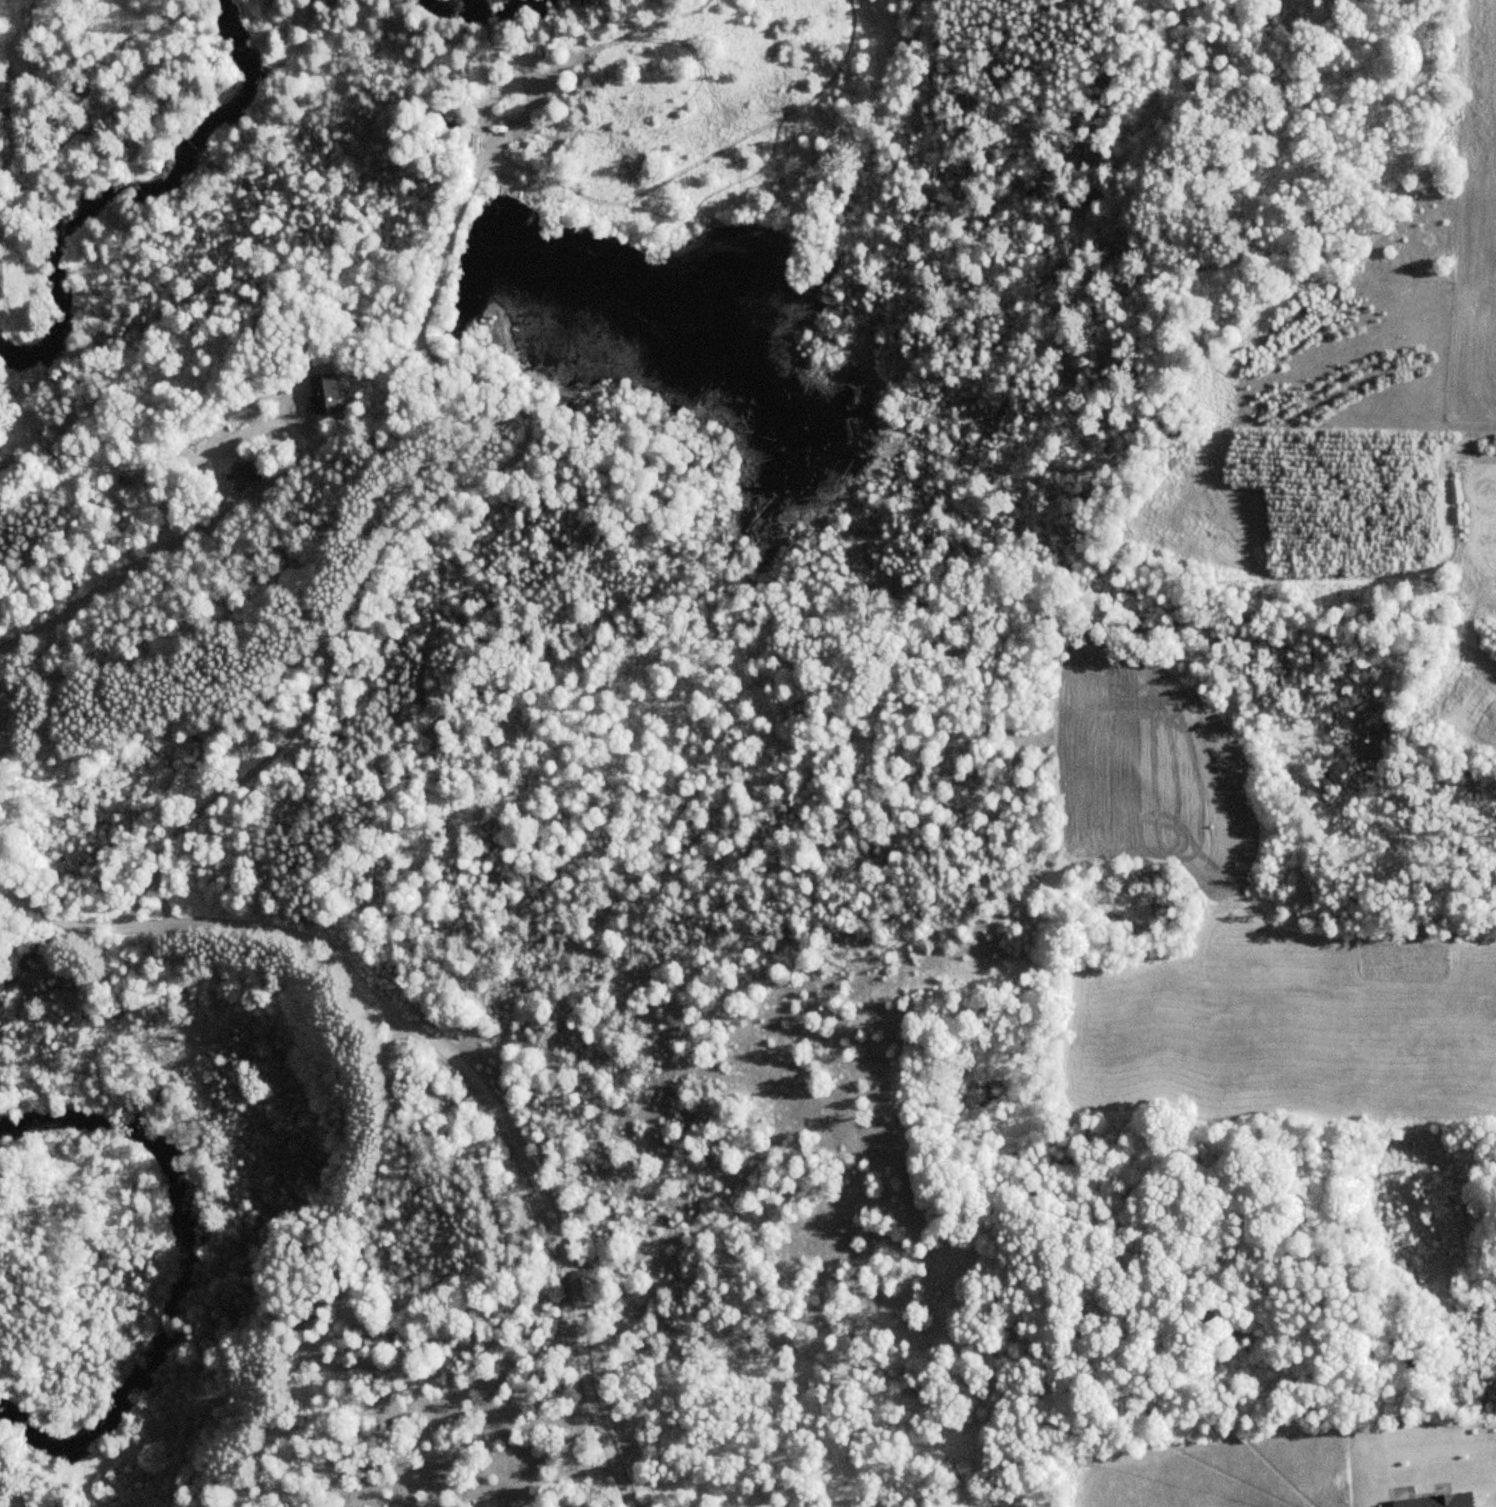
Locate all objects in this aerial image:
river: (489, 12)
building: (442, 122)
river: (137, 194)
building: (321, 393)
road: (293, 435)
building: (241, 476)
road: (85, 598)
road: (441, 1050)
river: (194, 1272)

